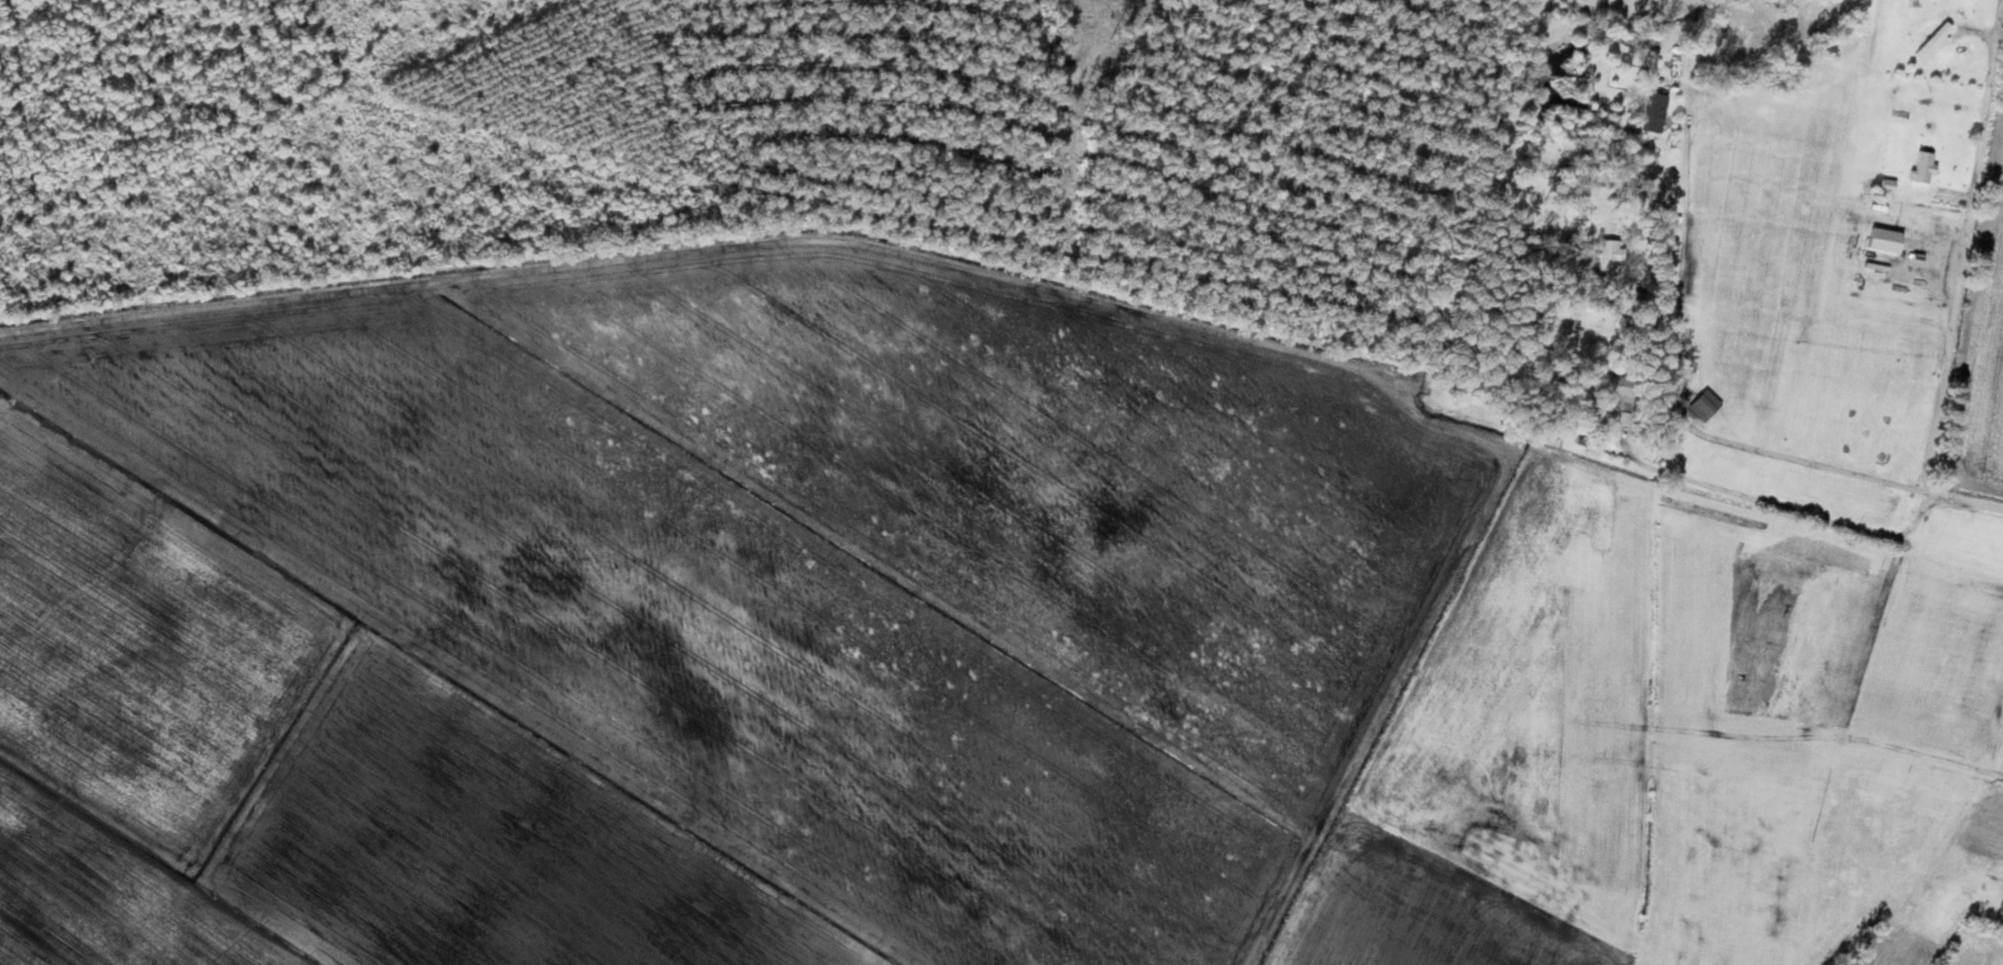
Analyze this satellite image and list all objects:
road: (1997, 22)
building: (1928, 33)
building: (1930, 39)
building: (1648, 107)
building: (1919, 161)
road: (1951, 190)
building: (1602, 247)
road: (1958, 278)
building: (1686, 359)
crop: (1986, 374)
road: (1672, 376)
building: (1602, 381)
building: (1592, 396)
building: (1698, 397)
road: (1774, 503)
road: (1378, 722)

